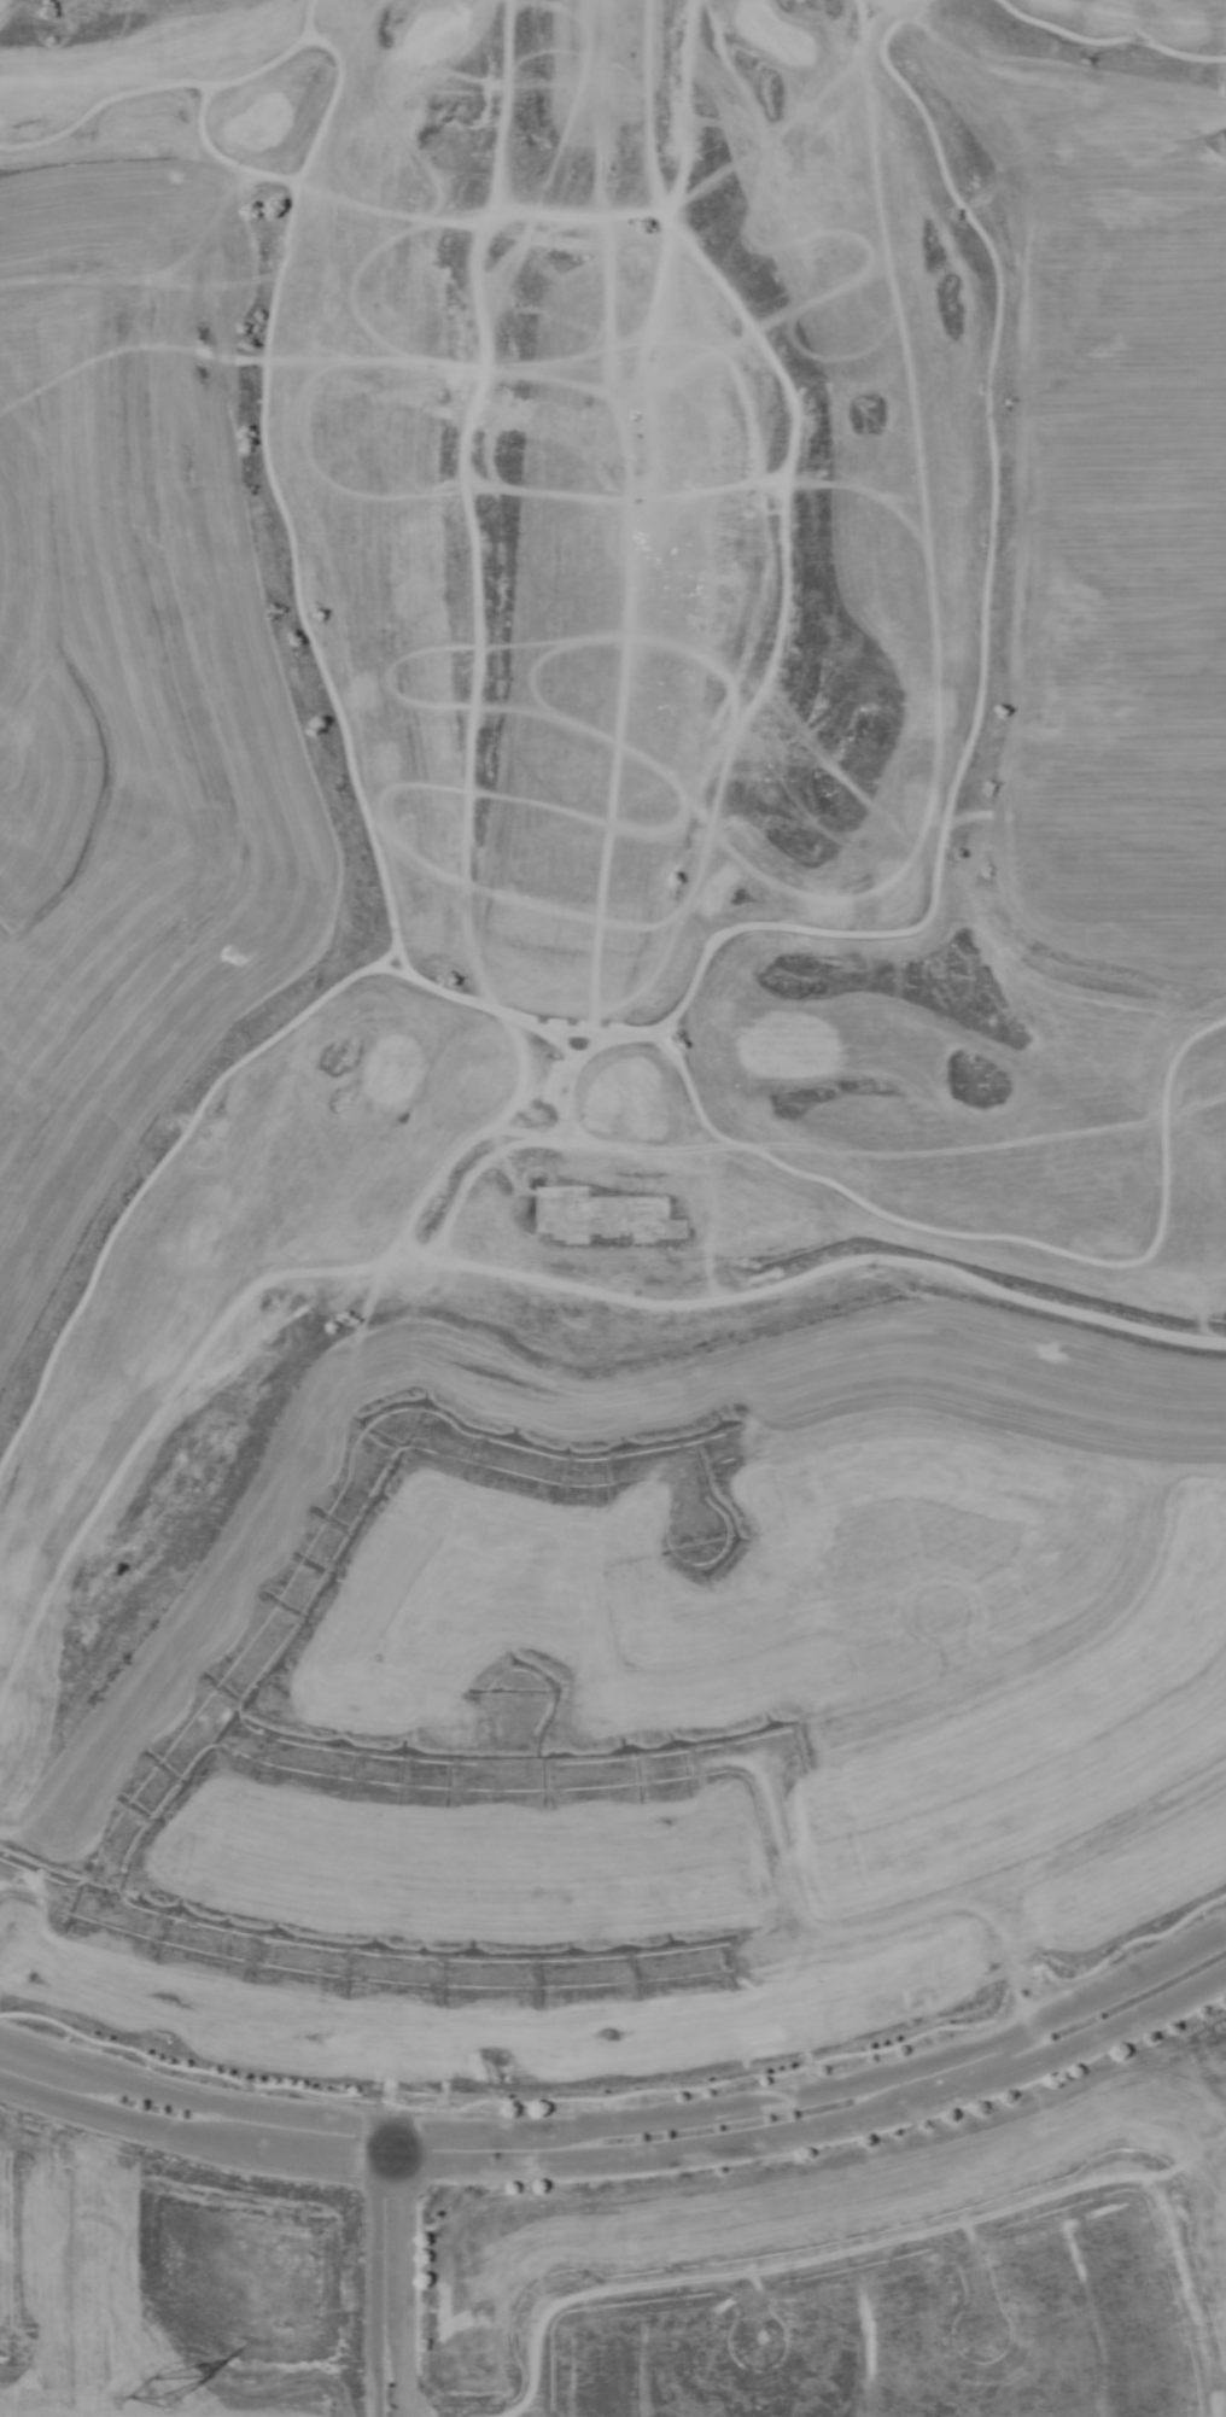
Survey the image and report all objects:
power tower: (186, 2390)

